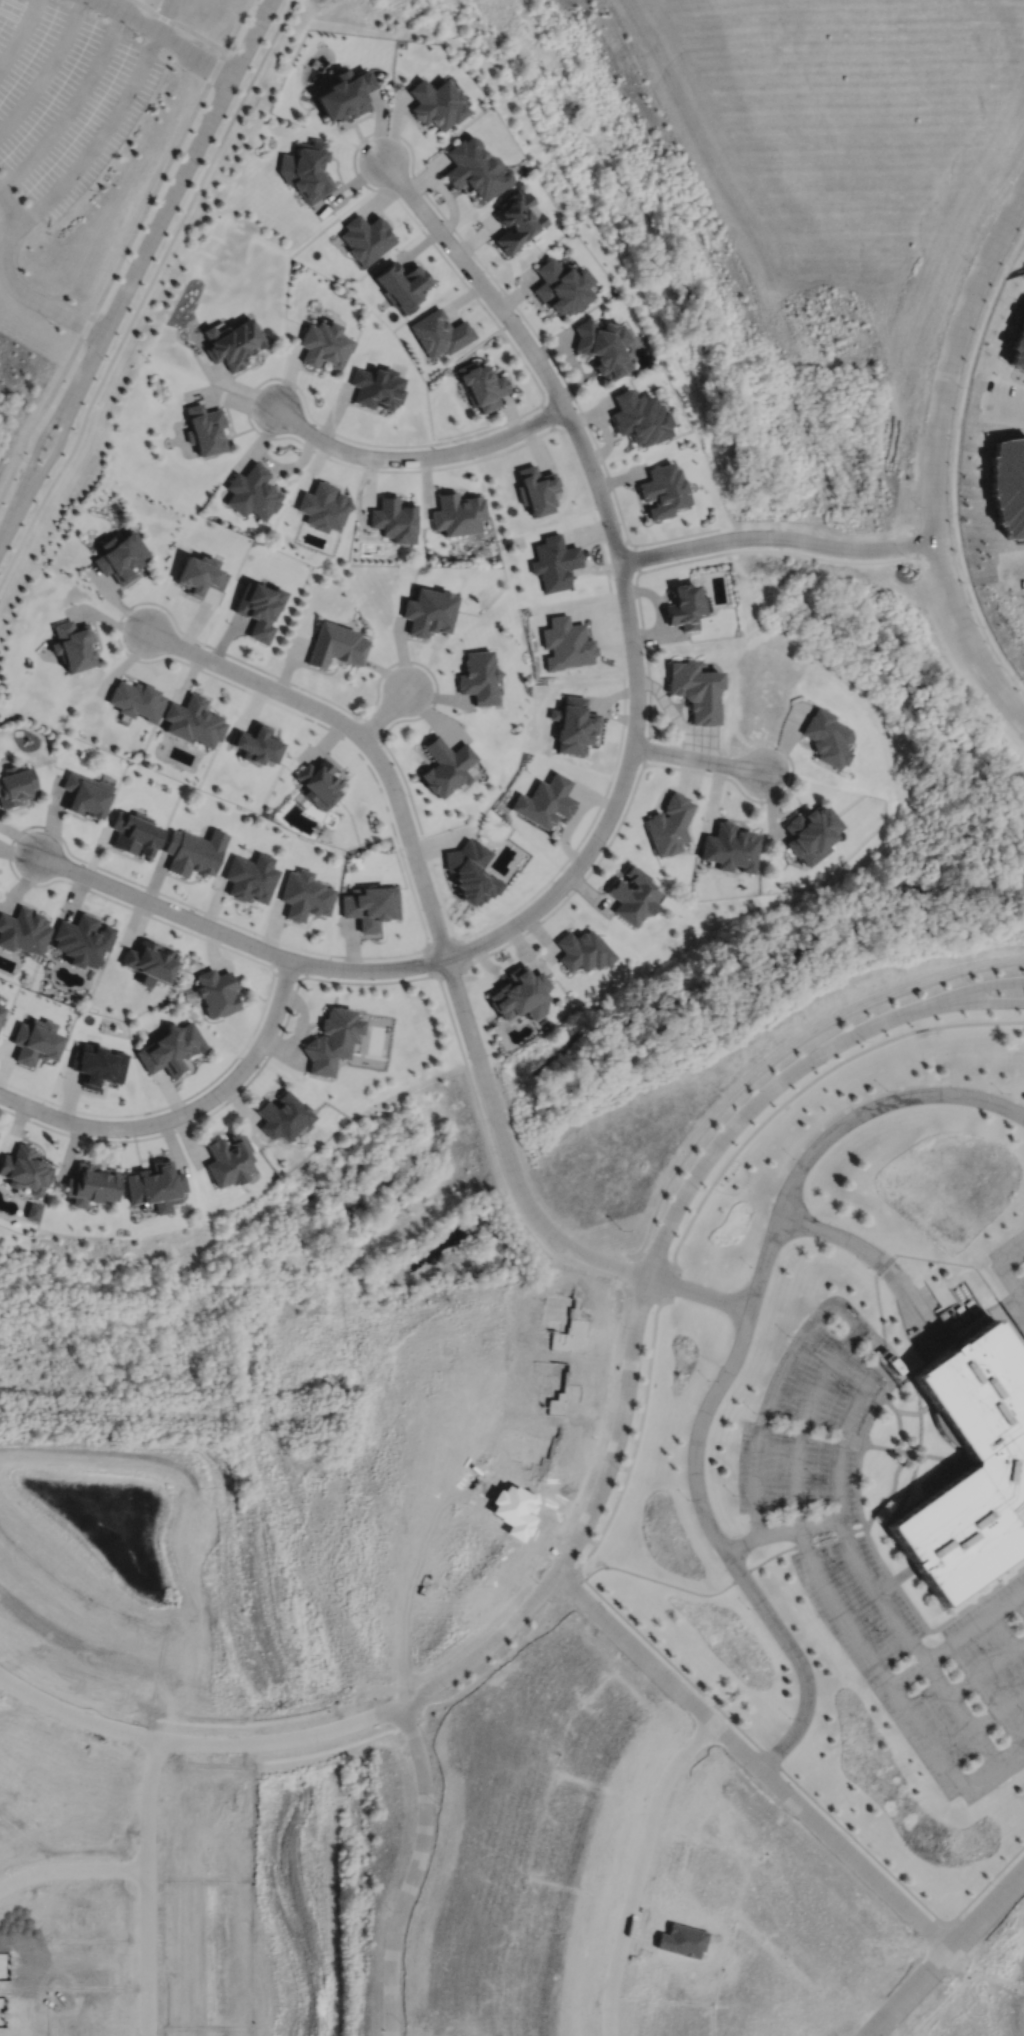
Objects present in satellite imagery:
road: (131, 15)
road: (164, 15)
road: (180, 24)
road: (238, 25)
road: (20, 35)
road: (195, 55)
road: (47, 70)
building: (345, 94)
parking lot: (66, 97)
building: (436, 103)
road: (73, 109)
road: (99, 138)
road: (187, 167)
building: (474, 168)
building: (306, 171)
road: (156, 189)
building: (512, 221)
building: (366, 237)
building: (401, 284)
building: (561, 285)
road: (13, 286)
road: (146, 294)
building: (439, 332)
building: (231, 342)
building: (323, 344)
road: (528, 345)
building: (602, 346)
building: (481, 385)
building: (376, 386)
road: (1005, 404)
road: (40, 411)
building: (638, 417)
road: (49, 424)
building: (205, 429)
road: (64, 432)
road: (418, 456)
road: (935, 459)
road: (954, 460)
building: (535, 489)
building: (662, 490)
building: (251, 492)
building: (323, 506)
building: (457, 513)
building: (394, 519)
road: (4, 530)
road: (778, 537)
building: (119, 555)
building: (553, 561)
road: (1013, 569)
building: (198, 574)
building: (684, 606)
building: (257, 607)
building: (429, 611)
building: (566, 643)
building: (72, 644)
building: (335, 645)
building: (478, 677)
building: (695, 689)
building: (135, 700)
road: (383, 713)
building: (192, 720)
building: (573, 724)
road: (359, 736)
building: (826, 737)
building: (256, 744)
road: (697, 759)
building: (445, 766)
building: (317, 783)
building: (15, 785)
building: (85, 793)
road: (617, 798)
building: (545, 800)
building: (668, 824)
building: (134, 832)
building: (809, 832)
building: (729, 847)
building: (193, 851)
building: (470, 871)
building: (250, 877)
building: (631, 894)
building: (304, 895)
building: (370, 905)
road: (164, 908)
building: (23, 930)
building: (81, 939)
building: (582, 950)
building: (148, 962)
road: (369, 970)
building: (216, 991)
building: (519, 993)
road: (939, 996)
road: (940, 1007)
building: (1, 1012)
building: (330, 1039)
building: (35, 1041)
building: (170, 1048)
road: (788, 1052)
building: (97, 1066)
road: (807, 1084)
road: (877, 1106)
road: (187, 1114)
building: (282, 1115)
road: (729, 1131)
road: (507, 1150)
building: (228, 1158)
building: (24, 1169)
building: (90, 1184)
building: (155, 1185)
road: (511, 1203)
building: (31, 1210)
road: (1012, 1257)
road: (881, 1259)
road: (766, 1262)
parking lot: (1009, 1274)
road: (1012, 1282)
road: (625, 1288)
road: (701, 1292)
road: (1003, 1300)
road: (823, 1310)
road: (245, 1388)
road: (117, 1397)
road: (806, 1418)
road: (763, 1419)
road: (899, 1422)
parking lot: (812, 1429)
road: (842, 1439)
road: (597, 1440)
road: (853, 1441)
road: (636, 1445)
road: (886, 1448)
road: (862, 1451)
road: (941, 1457)
building: (973, 1468)
road: (399, 1485)
road: (892, 1492)
road: (585, 1526)
road: (782, 1530)
road: (724, 1548)
road: (878, 1555)
road: (562, 1560)
road: (906, 1574)
road: (350, 1580)
road: (726, 1587)
road: (886, 1587)
road: (572, 1588)
road: (542, 1589)
road: (877, 1594)
building: (15, 1595)
road: (953, 1617)
road: (974, 1628)
road: (454, 1649)
road: (874, 1660)
road: (496, 1664)
parking lot: (929, 1665)
road: (677, 1668)
road: (987, 1670)
road: (909, 1674)
road: (949, 1695)
road: (998, 1711)
road: (197, 1742)
road: (984, 1746)
road: (754, 1761)
road: (993, 1763)
road: (858, 1841)
road: (71, 1868)
road: (416, 1869)
road: (640, 1870)
road: (986, 1885)
road: (146, 1887)
road: (935, 1934)
road: (946, 1954)
road: (937, 1961)

